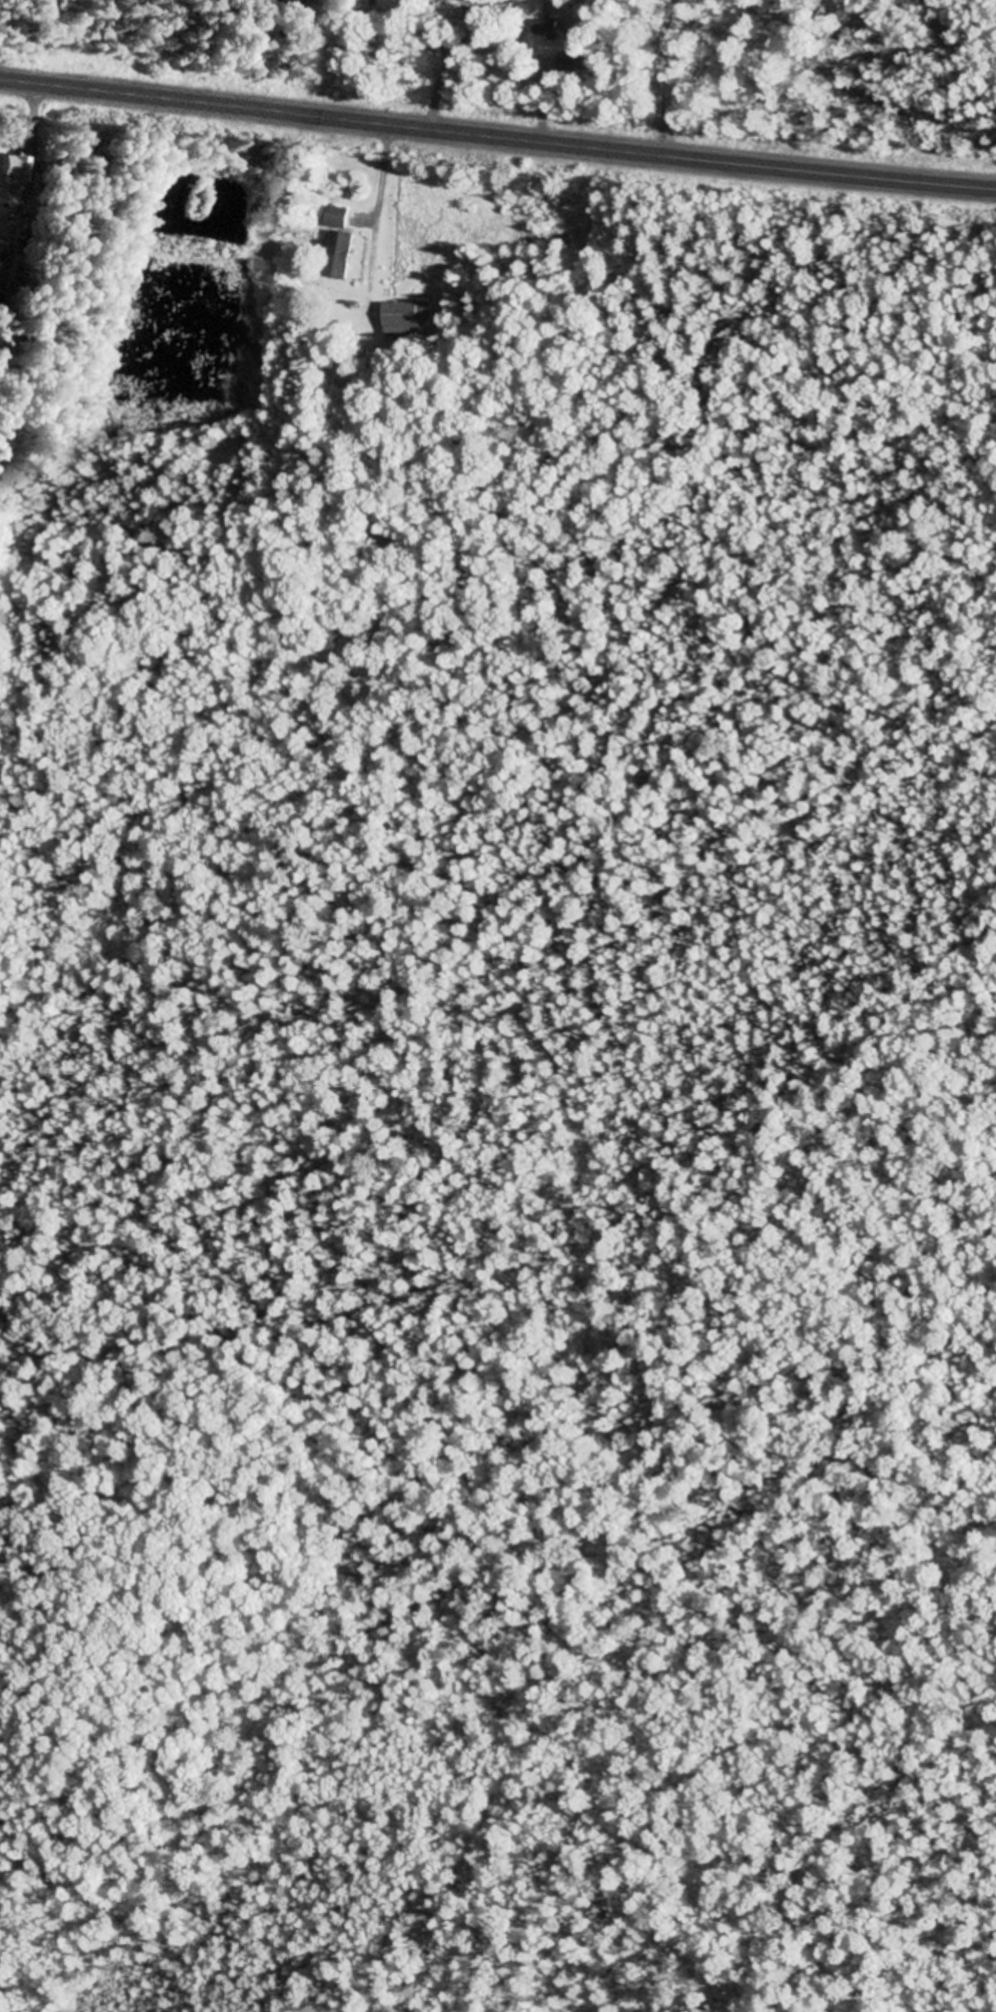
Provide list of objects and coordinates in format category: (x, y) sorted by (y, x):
building: (551, 28)
building: (575, 63)
road: (497, 129)
building: (11, 168)
building: (26, 226)
building: (341, 245)
building: (406, 319)

